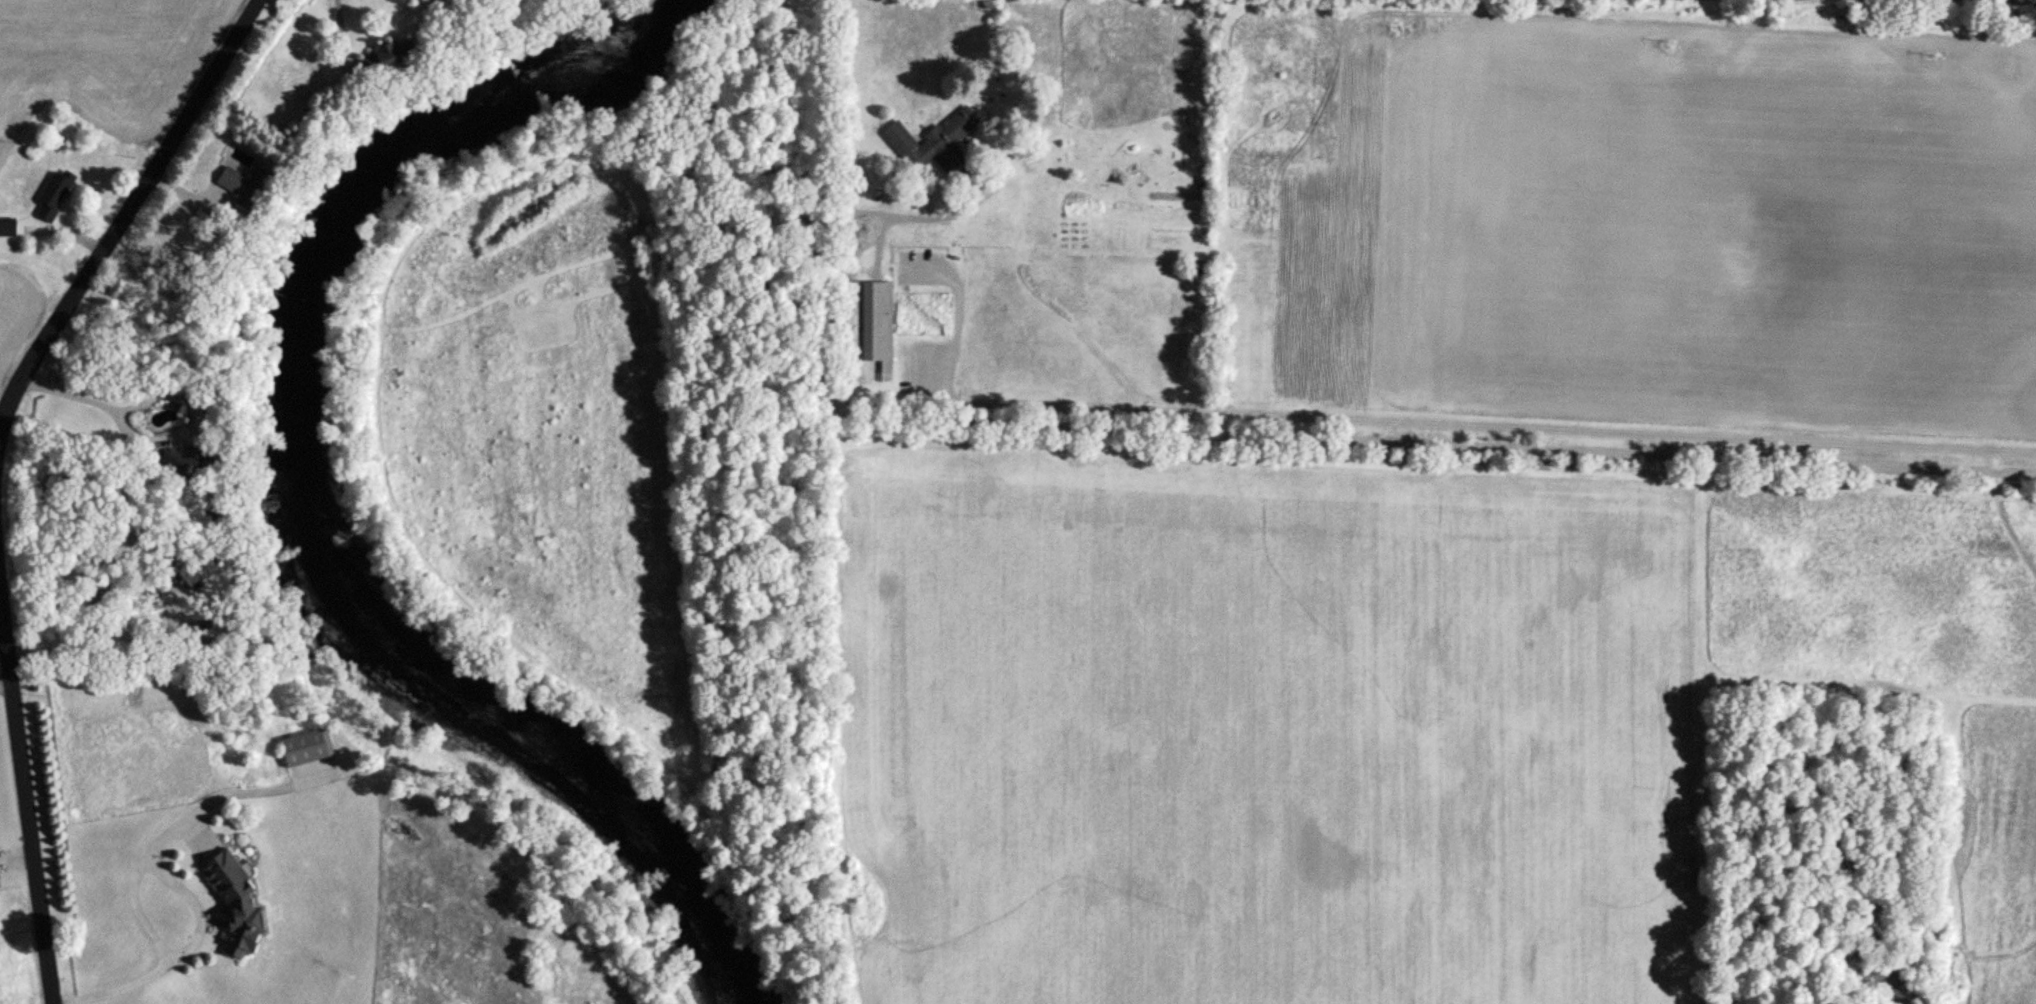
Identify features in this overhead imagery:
road: (339, 30)
building: (385, 58)
building: (932, 141)
building: (233, 181)
building: (51, 195)
road: (127, 216)
building: (6, 227)
building: (863, 321)
road: (100, 405)
road: (1435, 423)
park: (1234, 488)
river: (297, 494)
road: (100, 641)
building: (304, 747)
road: (213, 794)
road: (25, 799)
road: (16, 851)
building: (229, 903)
road: (196, 915)

